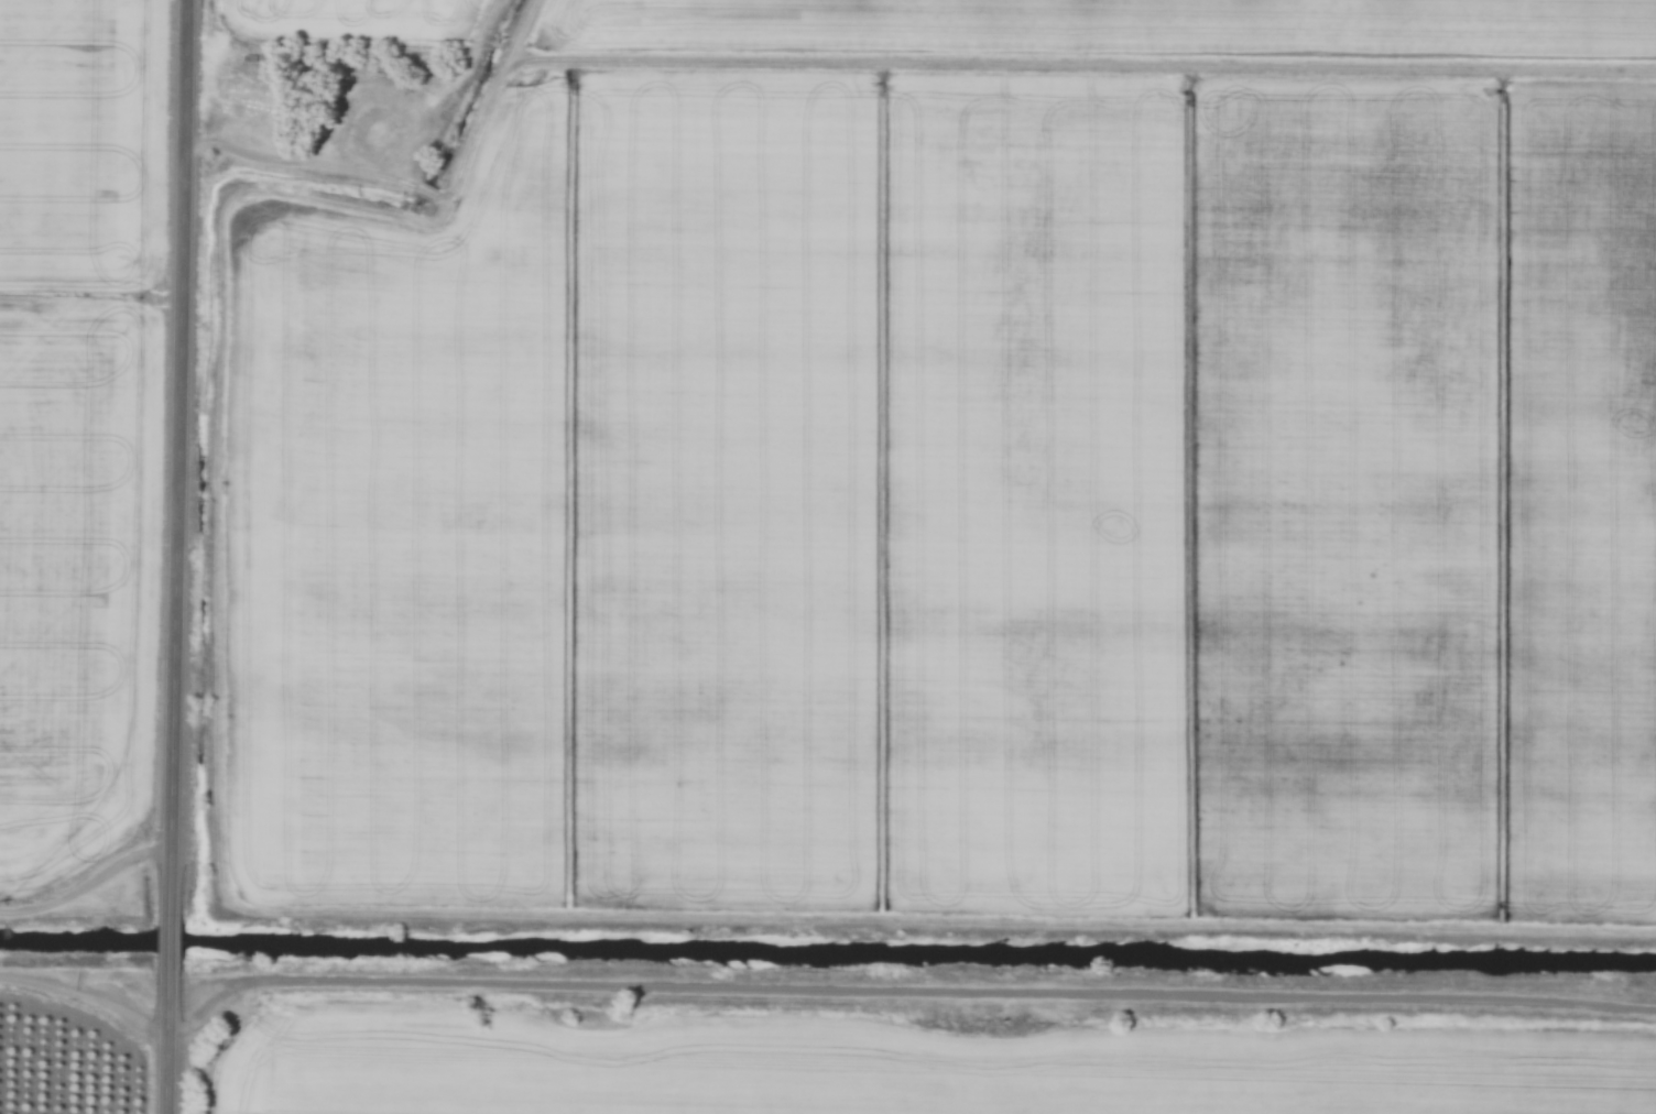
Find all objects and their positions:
road: (178, 458)
road: (172, 948)
road: (909, 991)
road: (88, 994)
road: (170, 1046)

